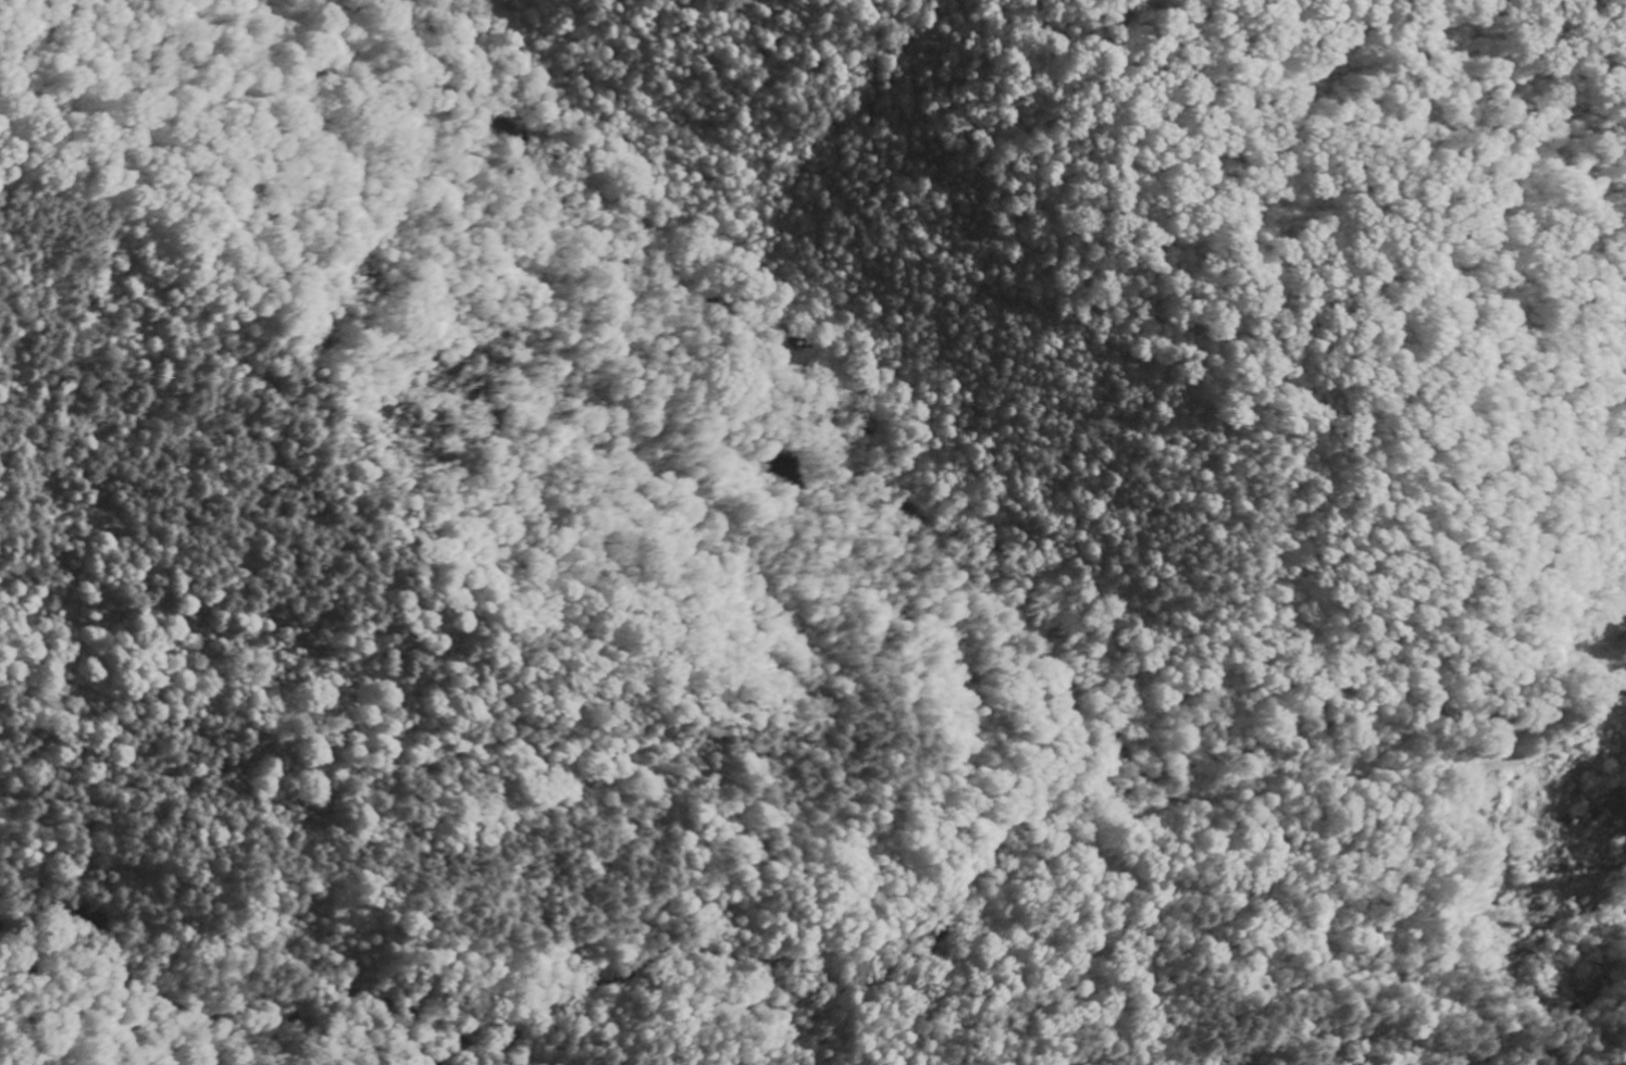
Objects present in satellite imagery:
road: (979, 563)

